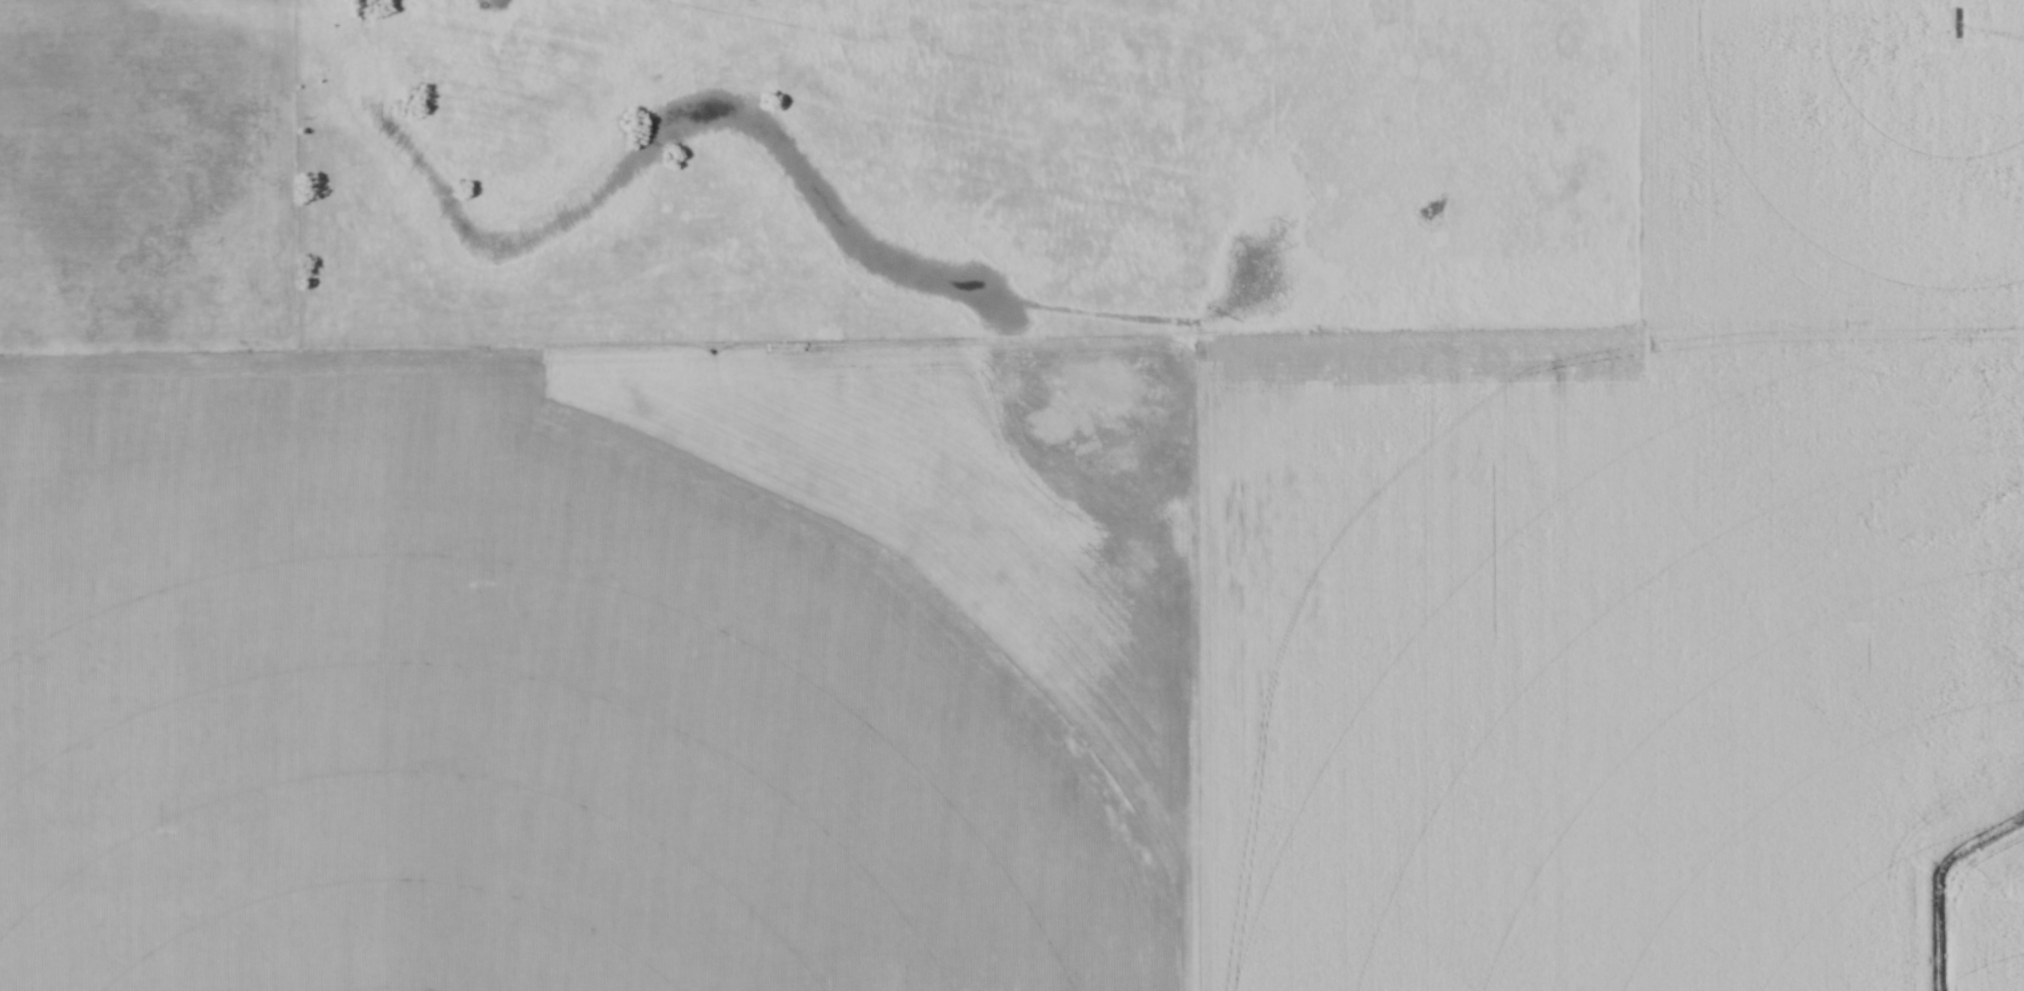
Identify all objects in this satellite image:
crop: (1615, 445)

